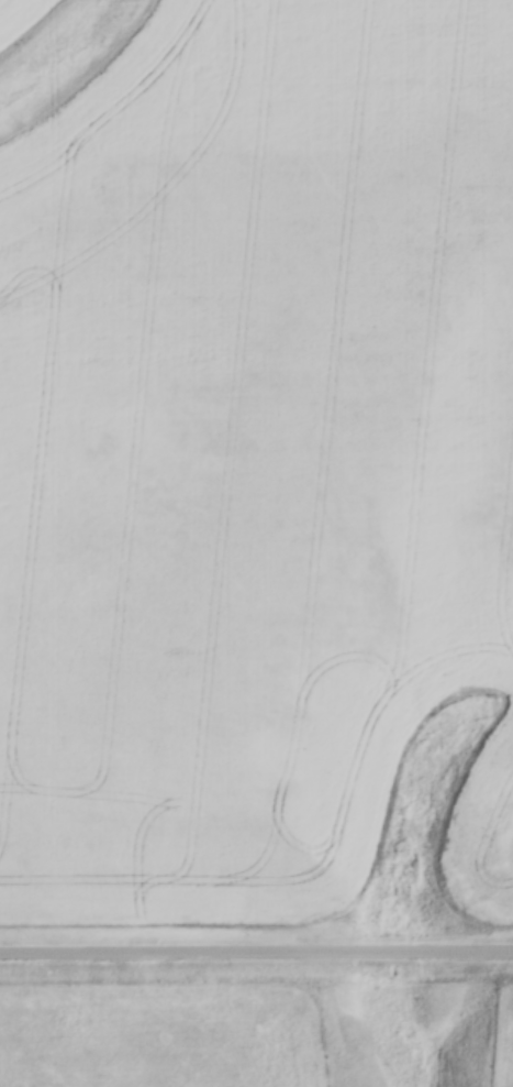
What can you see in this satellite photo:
road: (256, 946)

